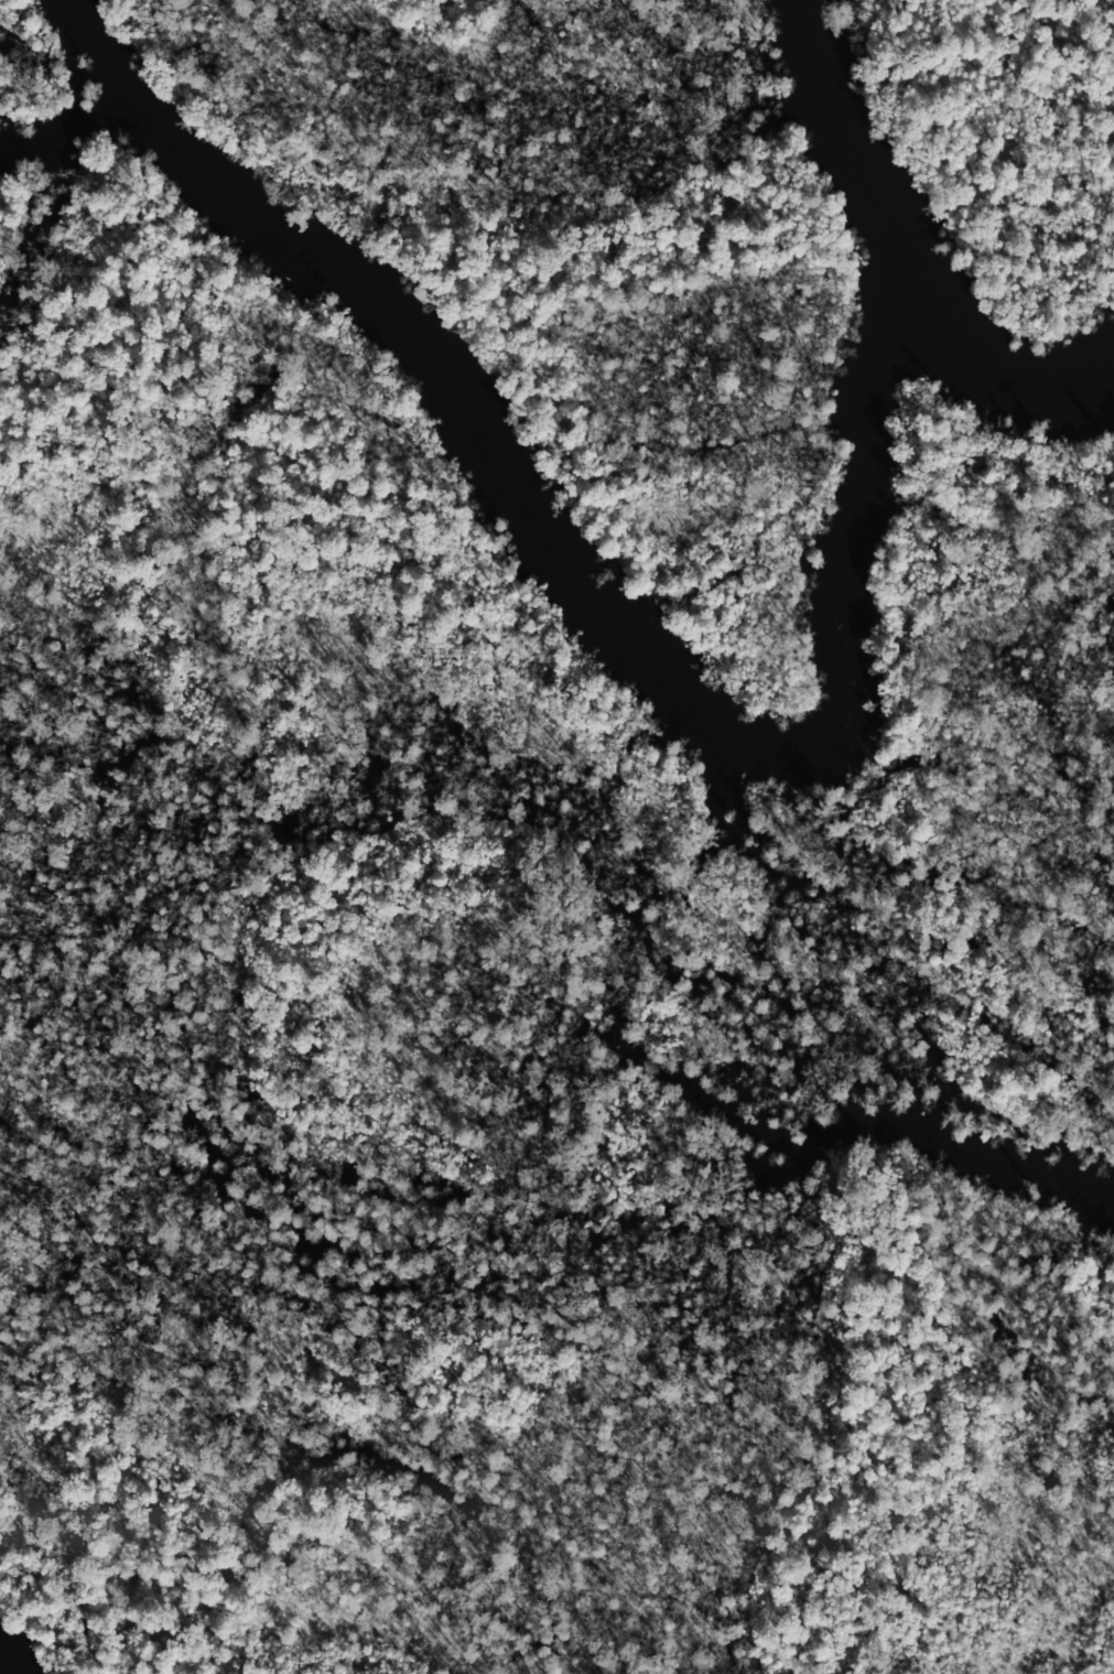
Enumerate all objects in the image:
river: (7, 1662)

